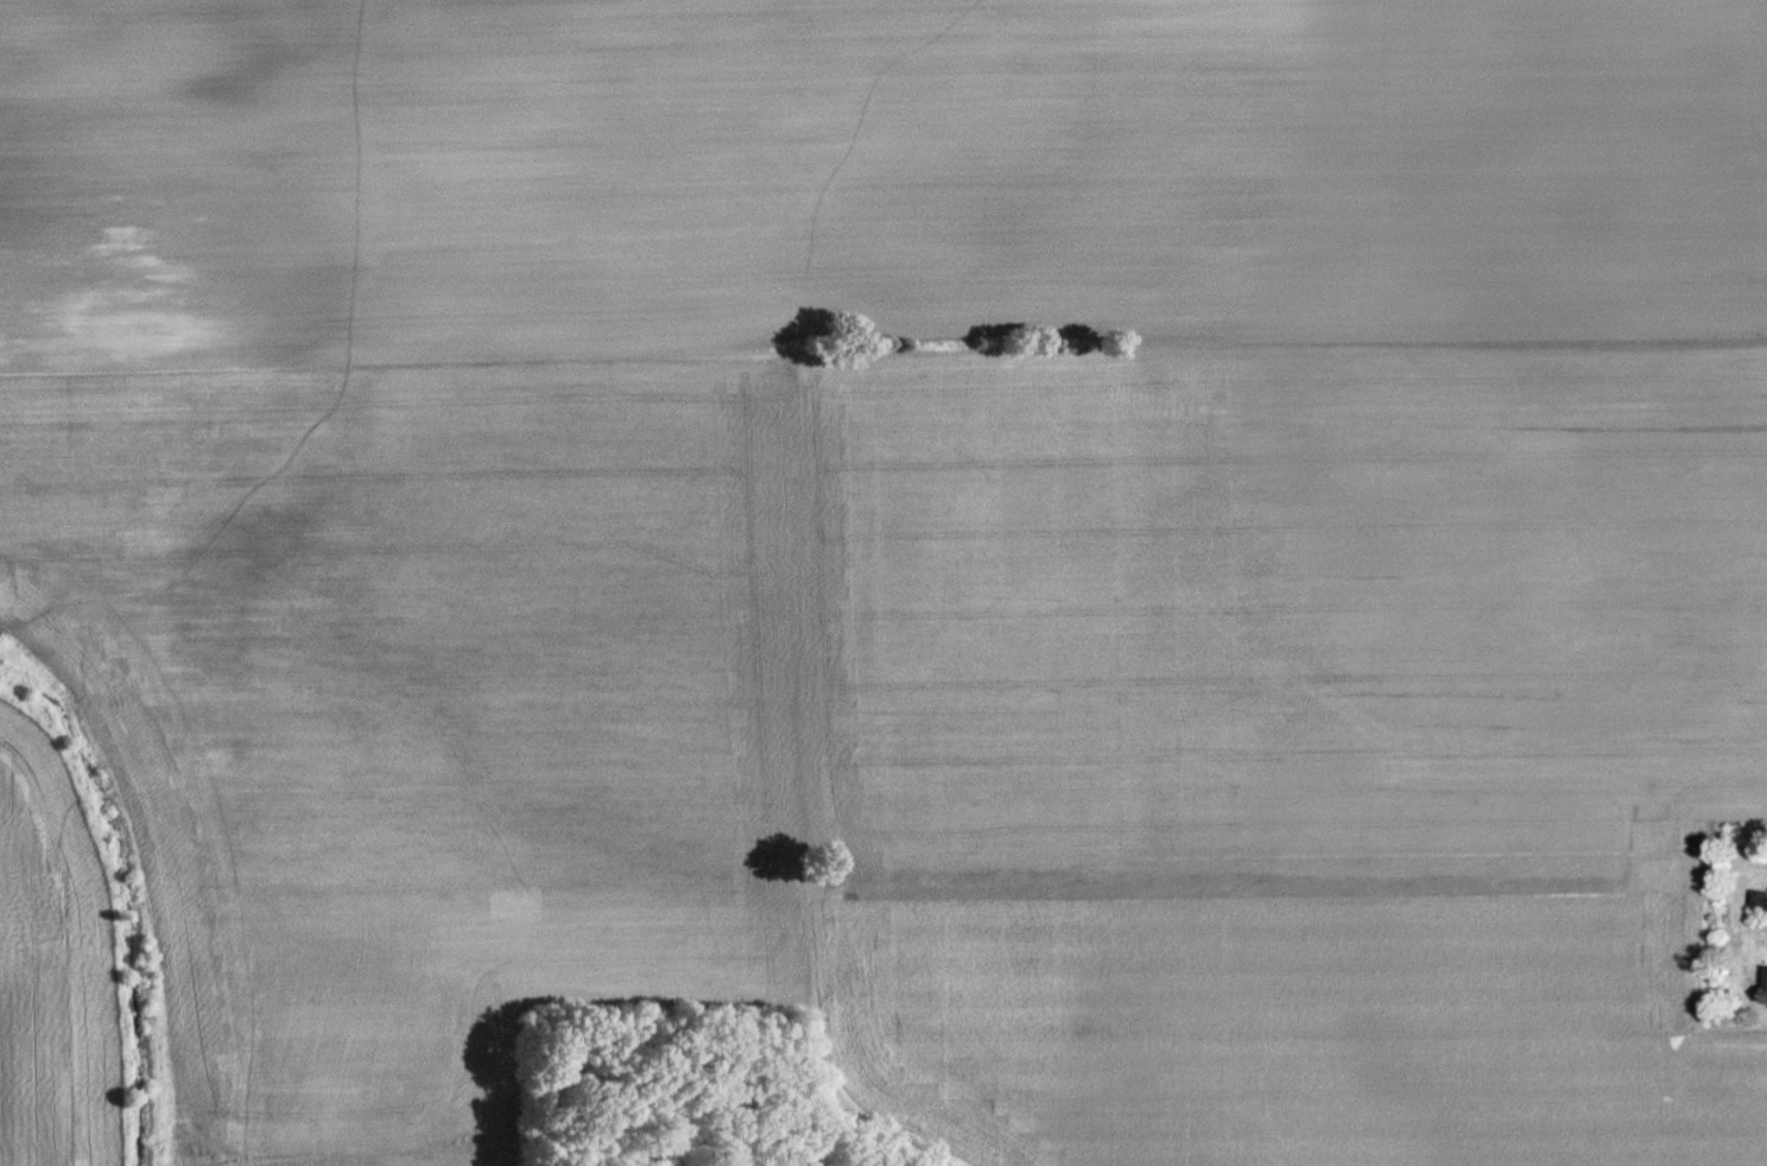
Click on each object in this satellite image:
building: (1761, 900)

